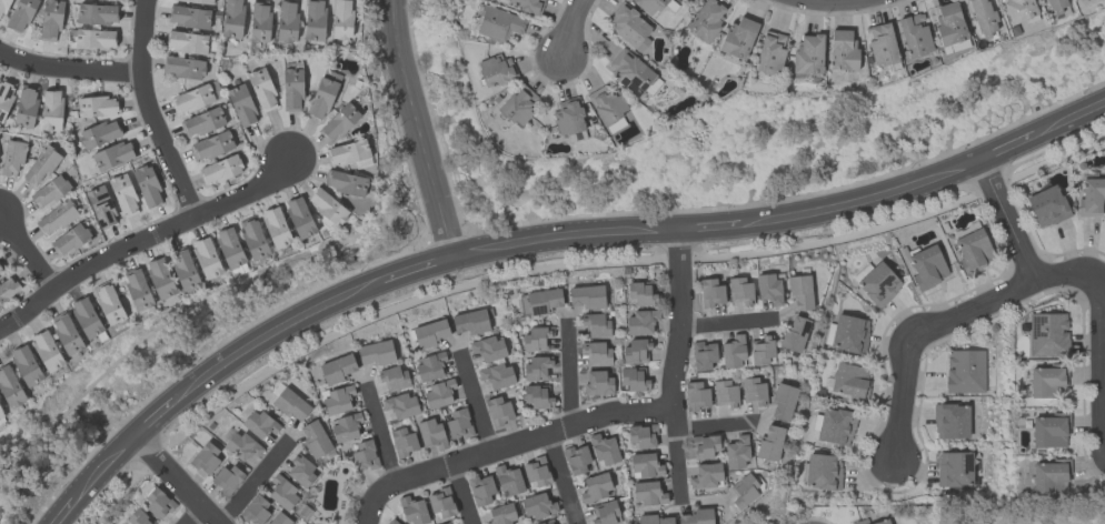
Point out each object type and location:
building: (113, 0)
building: (1079, 0)
building: (198, 1)
road: (832, 1)
building: (526, 6)
building: (649, 6)
building: (1055, 6)
building: (3, 8)
building: (1019, 10)
building: (96, 14)
building: (21, 16)
building: (189, 18)
building: (983, 18)
building: (232, 19)
building: (50, 20)
building: (341, 20)
building: (706, 20)
building: (259, 21)
building: (286, 21)
building: (313, 22)
building: (498, 24)
building: (949, 24)
building: (629, 28)
road: (571, 31)
building: (915, 36)
building: (738, 38)
building: (93, 40)
building: (186, 42)
building: (882, 44)
building: (842, 50)
building: (770, 54)
building: (808, 54)
building: (182, 68)
building: (495, 70)
road: (69, 71)
building: (630, 72)
rooftop solar panel: (634, 83)
rooftop solar panel: (645, 85)
rooftop solar panel: (1, 89)
building: (291, 89)
building: (261, 90)
rooftop solar panel: (9, 93)
building: (6, 98)
building: (321, 99)
building: (191, 100)
building: (241, 105)
building: (606, 105)
building: (97, 107)
building: (517, 107)
building: (24, 108)
building: (51, 111)
road: (151, 113)
rooftop solar panel: (2, 117)
building: (568, 117)
road: (1068, 118)
building: (202, 122)
building: (338, 122)
road: (419, 130)
building: (99, 134)
building: (211, 147)
road: (1007, 147)
building: (350, 154)
building: (112, 155)
building: (12, 158)
building: (40, 167)
building: (220, 170)
building: (345, 183)
building: (147, 187)
building: (49, 192)
building: (123, 195)
building: (1092, 198)
road: (863, 201)
building: (100, 206)
building: (327, 206)
building: (1047, 206)
building: (56, 218)
building: (299, 218)
road: (1006, 220)
building: (276, 228)
road: (710, 229)
road: (567, 239)
building: (69, 240)
building: (253, 240)
road: (143, 243)
building: (229, 248)
building: (972, 251)
road: (27, 256)
building: (206, 259)
building: (927, 266)
building: (183, 270)
building: (0, 271)
road: (419, 271)
building: (160, 279)
building: (878, 284)
rooftop solar panel: (882, 284)
building: (8, 288)
building: (137, 289)
building: (768, 289)
building: (739, 291)
building: (800, 292)
building: (710, 293)
building: (640, 294)
road: (1003, 294)
building: (586, 298)
building: (539, 302)
building: (109, 304)
building: (86, 319)
building: (470, 322)
building: (638, 323)
building: (595, 325)
road: (728, 325)
rooftop solar panel: (1035, 325)
building: (66, 333)
road: (272, 333)
building: (429, 334)
building: (795, 334)
building: (849, 334)
building: (1047, 335)
building: (536, 339)
building: (487, 349)
road: (1101, 349)
building: (47, 351)
building: (636, 351)
building: (760, 351)
building: (376, 353)
building: (595, 353)
building: (733, 353)
building: (703, 355)
building: (26, 365)
building: (429, 366)
road: (678, 366)
building: (338, 369)
building: (537, 369)
building: (965, 372)
building: (497, 376)
road: (569, 377)
building: (392, 379)
building: (634, 380)
building: (849, 381)
building: (1047, 381)
building: (597, 383)
building: (10, 387)
building: (754, 392)
building: (438, 394)
building: (726, 394)
building: (696, 396)
building: (538, 397)
road: (904, 397)
building: (337, 401)
building: (783, 403)
building: (290, 405)
road: (477, 405)
building: (401, 406)
building: (498, 412)
road: (153, 416)
building: (1, 417)
building: (950, 421)
building: (259, 424)
building: (457, 425)
building: (836, 426)
building: (345, 427)
road: (715, 427)
building: (1049, 432)
building: (431, 434)
building: (641, 436)
road: (380, 437)
building: (315, 439)
building: (402, 443)
building: (769, 444)
building: (241, 446)
building: (705, 446)
road: (509, 449)
building: (604, 450)
building: (736, 453)
building: (364, 456)
building: (206, 457)
building: (576, 460)
rooftop solar panel: (968, 462)
road: (104, 465)
building: (644, 465)
building: (954, 468)
building: (300, 472)
building: (823, 472)
building: (536, 473)
building: (706, 476)
road: (176, 477)
building: (1049, 477)
building: (228, 478)
road: (564, 480)
building: (508, 481)
road: (249, 483)
building: (595, 487)
building: (481, 491)
building: (282, 493)
building: (647, 494)
road: (462, 495)
building: (158, 503)
building: (440, 503)
building: (538, 507)
building: (255, 510)
building: (414, 511)
road: (63, 512)
building: (605, 513)
road: (192, 515)
building: (500, 515)
building: (696, 516)
building: (138, 518)
building: (278, 520)
building: (656, 520)
building: (390, 522)
building: (548, 522)
building: (860, 522)
building: (882, 522)
building: (447, 523)

